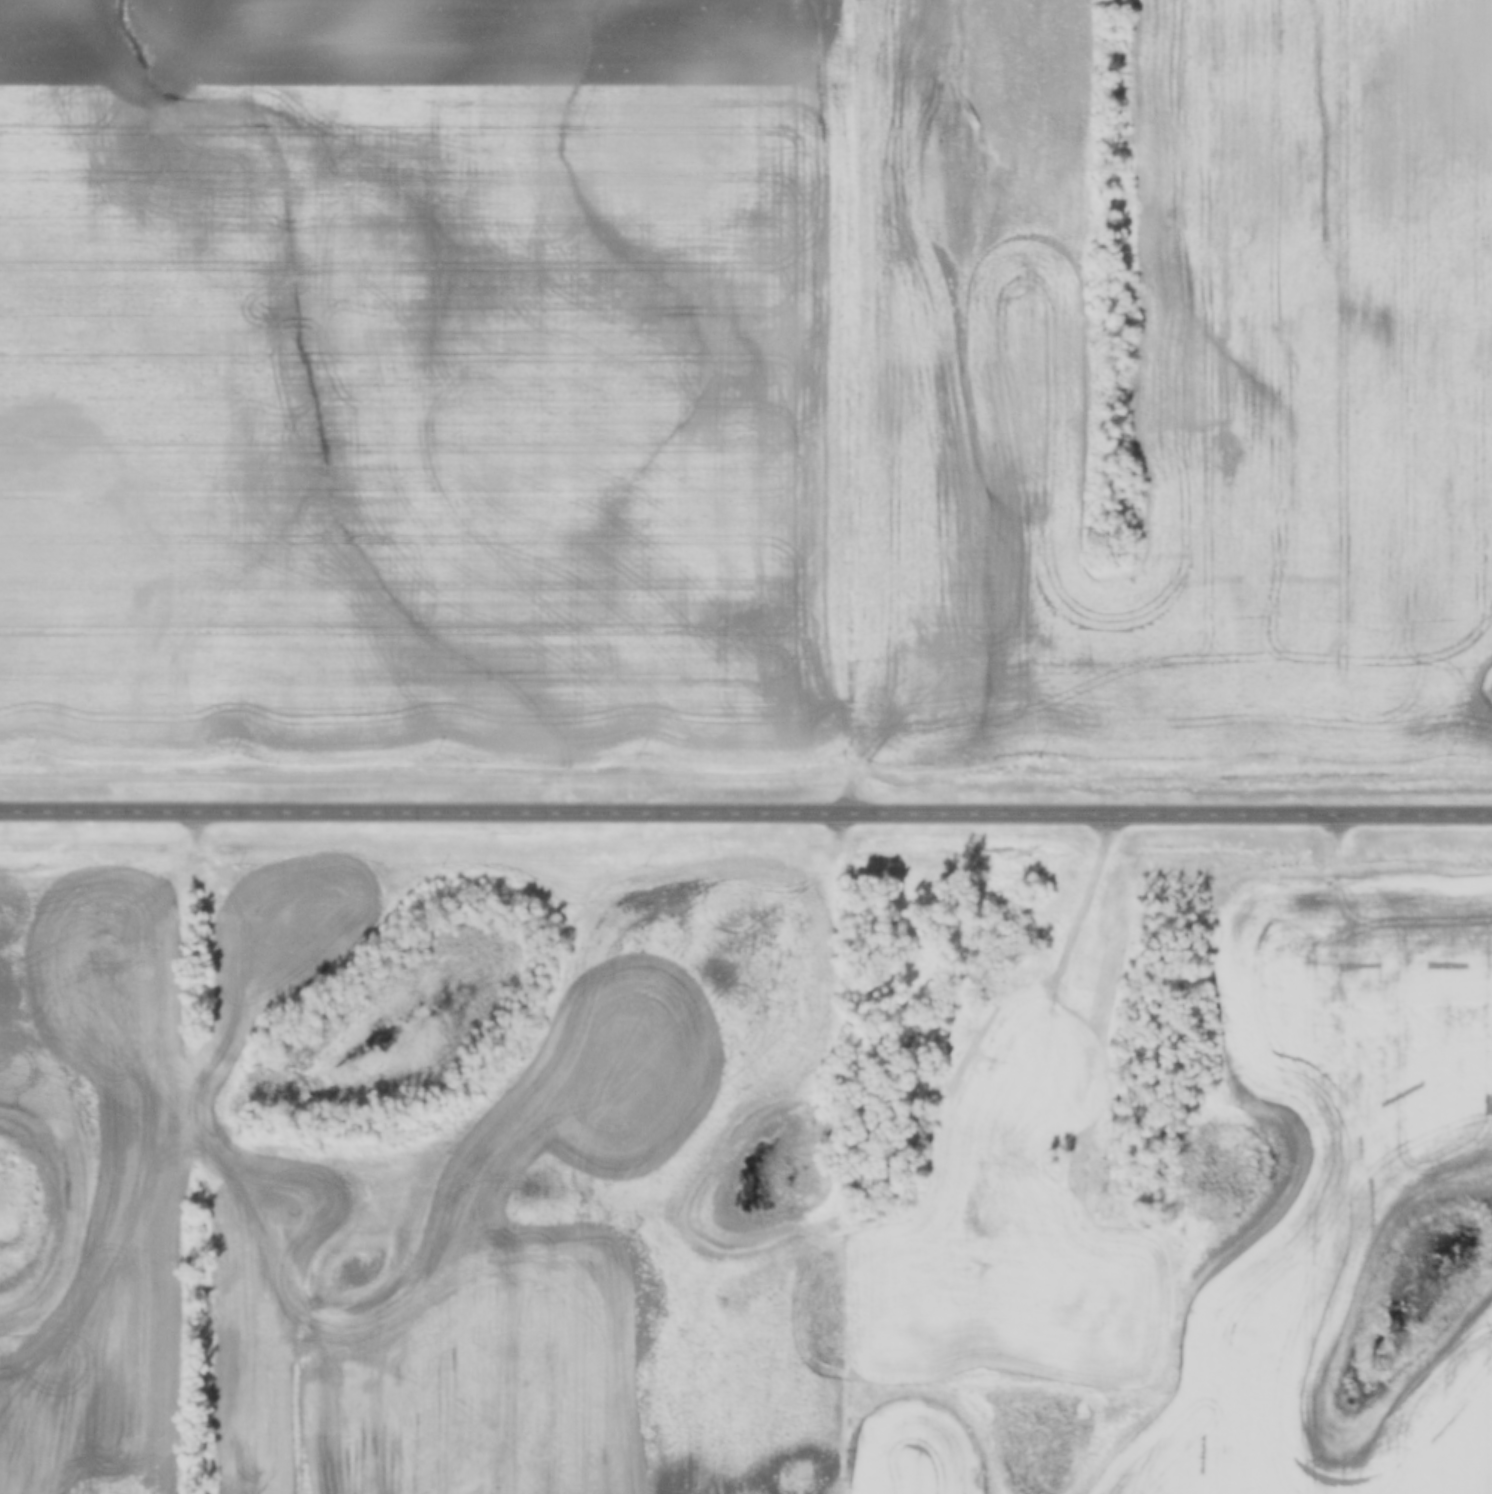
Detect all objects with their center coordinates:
road: (746, 811)
road: (1057, 994)
building: (1005, 1040)
building: (1102, 1098)
building: (1003, 1169)
building: (1106, 1183)
building: (1002, 1262)

